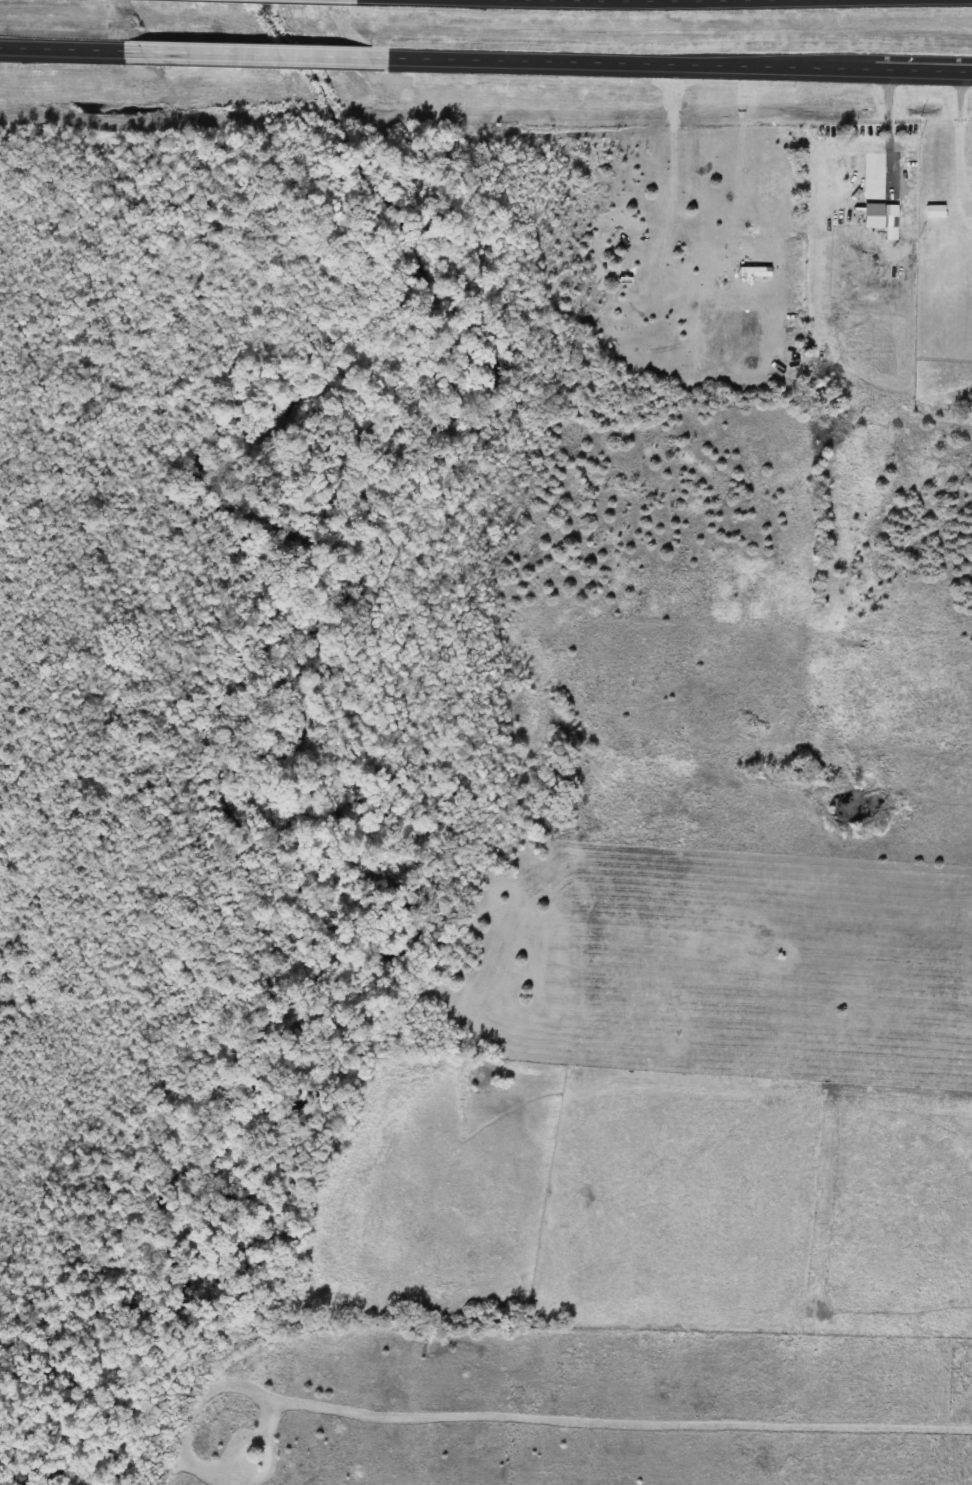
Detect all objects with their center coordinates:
road: (63, 52)
road: (259, 57)
road: (681, 68)
road: (964, 136)
building: (970, 249)

